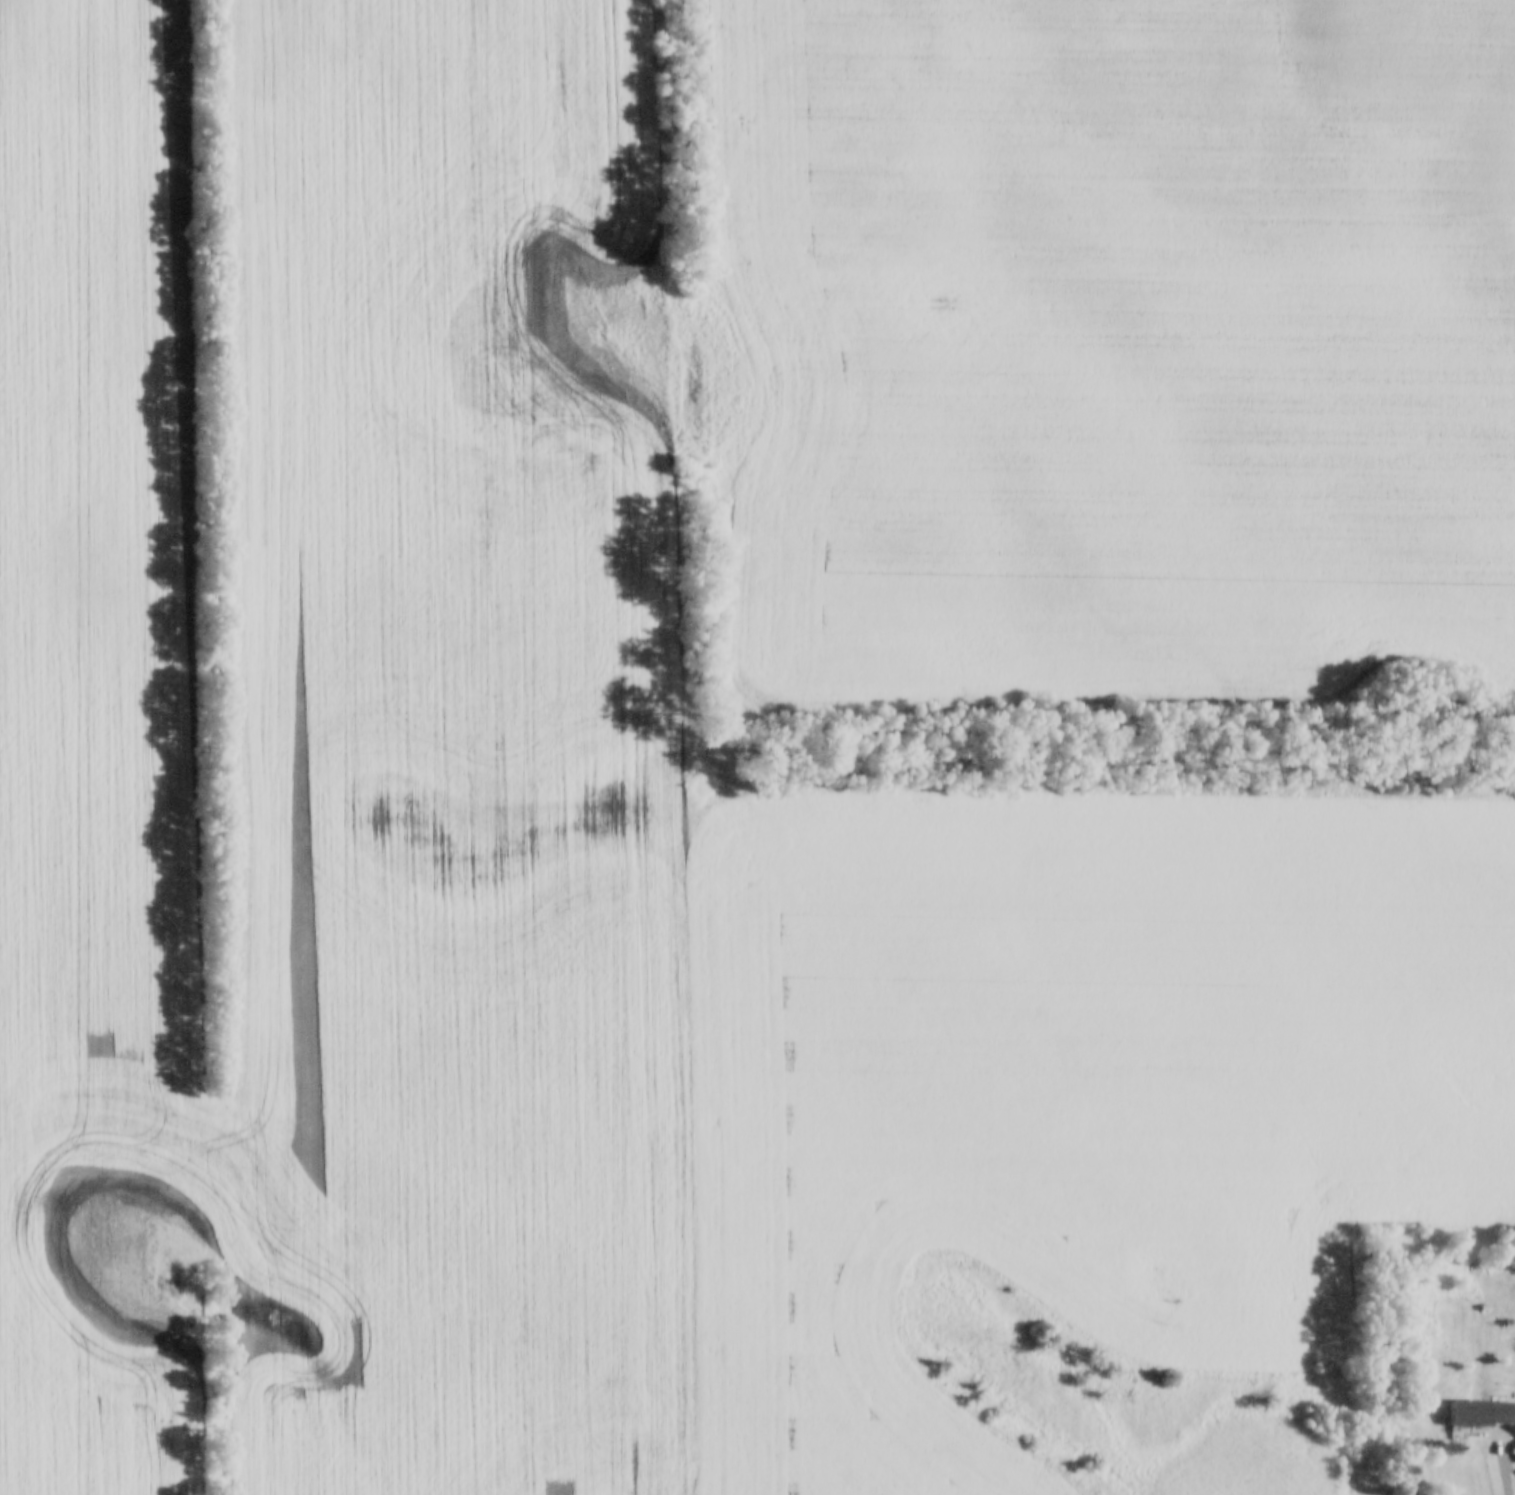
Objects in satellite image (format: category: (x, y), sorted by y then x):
building: (1479, 1413)
road: (1504, 1468)

